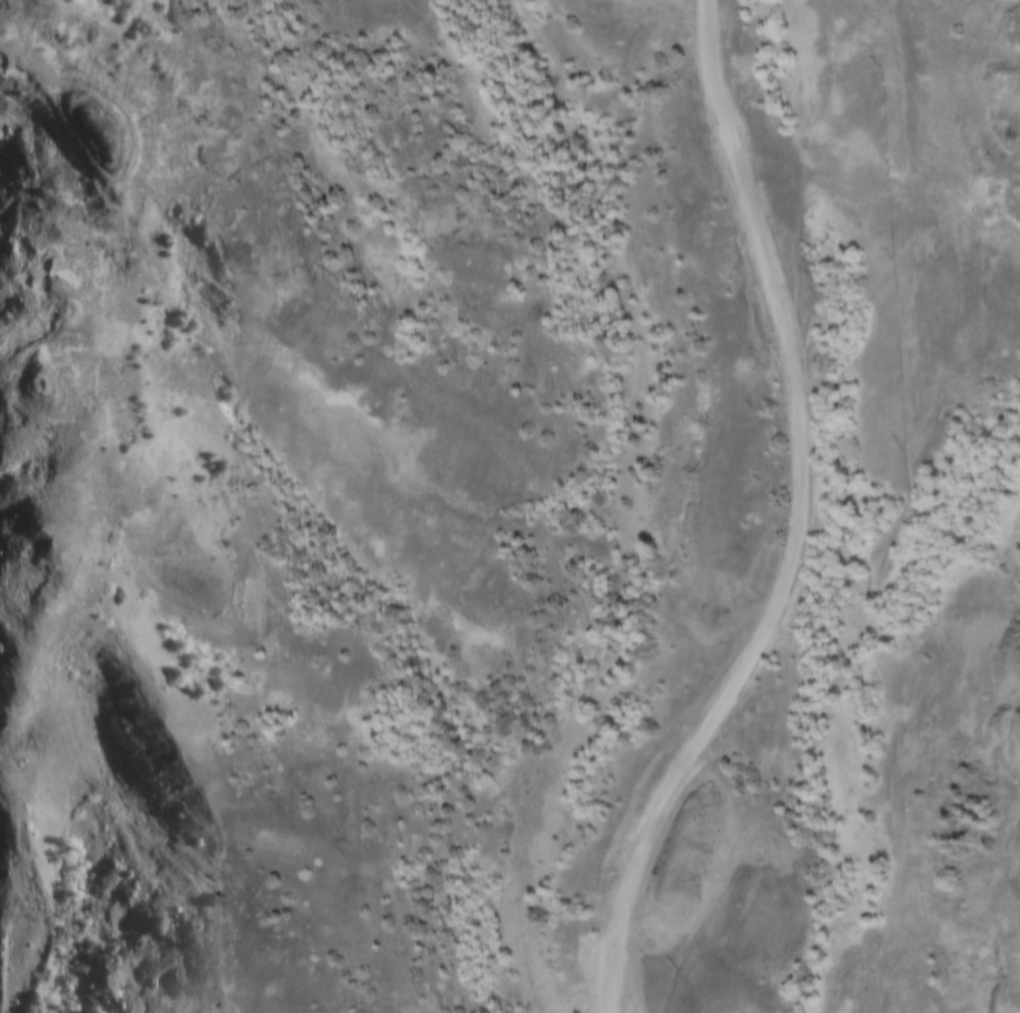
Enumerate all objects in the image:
road: (802, 523)

